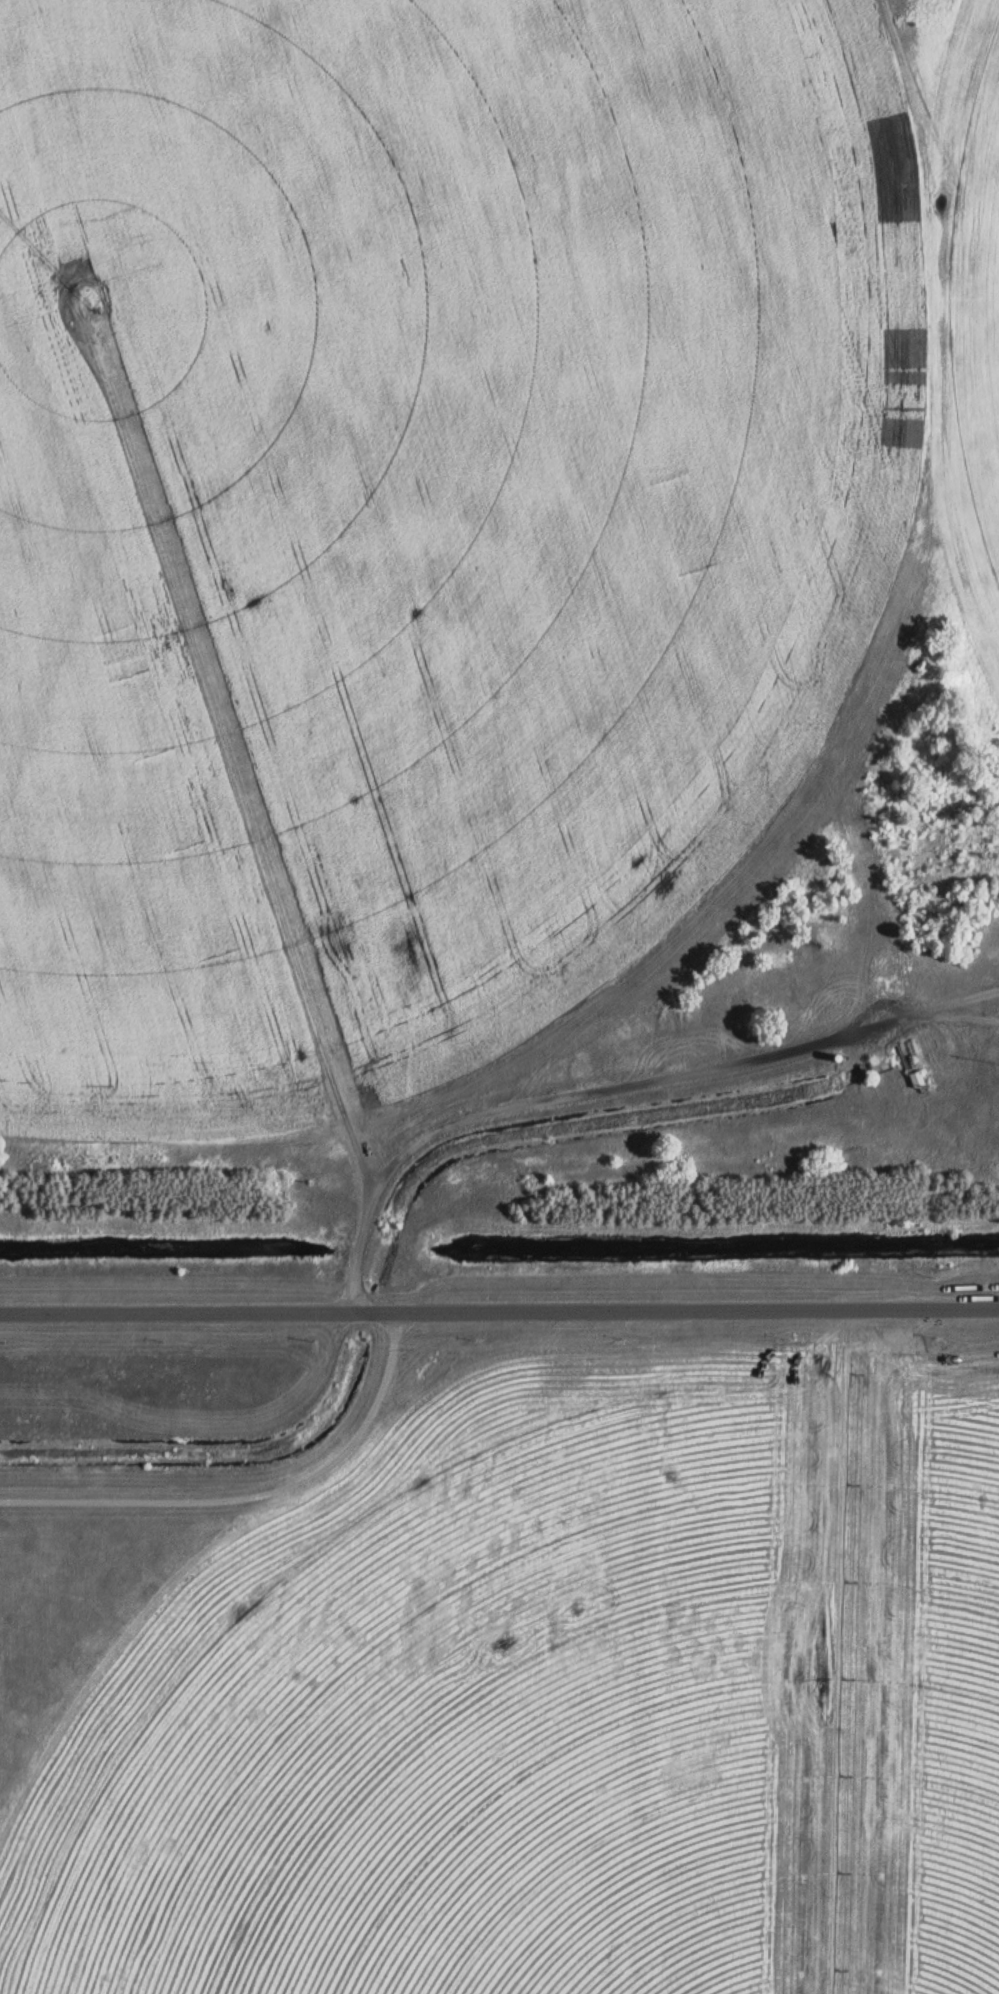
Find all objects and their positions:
wastewater plant: (499, 997)
building: (916, 1077)
road: (529, 1104)
road: (499, 1308)
road: (257, 1492)

